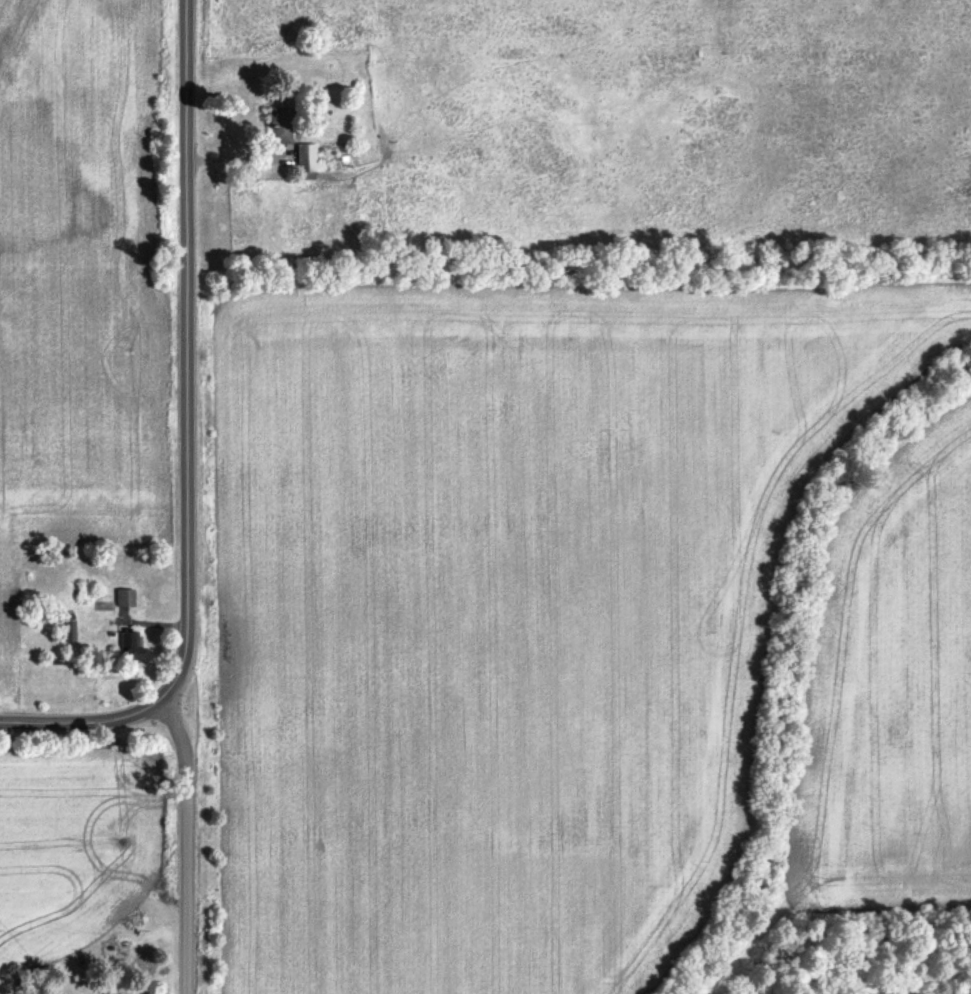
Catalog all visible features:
building: (275, 134)
building: (301, 158)
road: (187, 339)
building: (126, 599)
building: (133, 646)
road: (166, 698)
road: (96, 716)
road: (185, 835)

